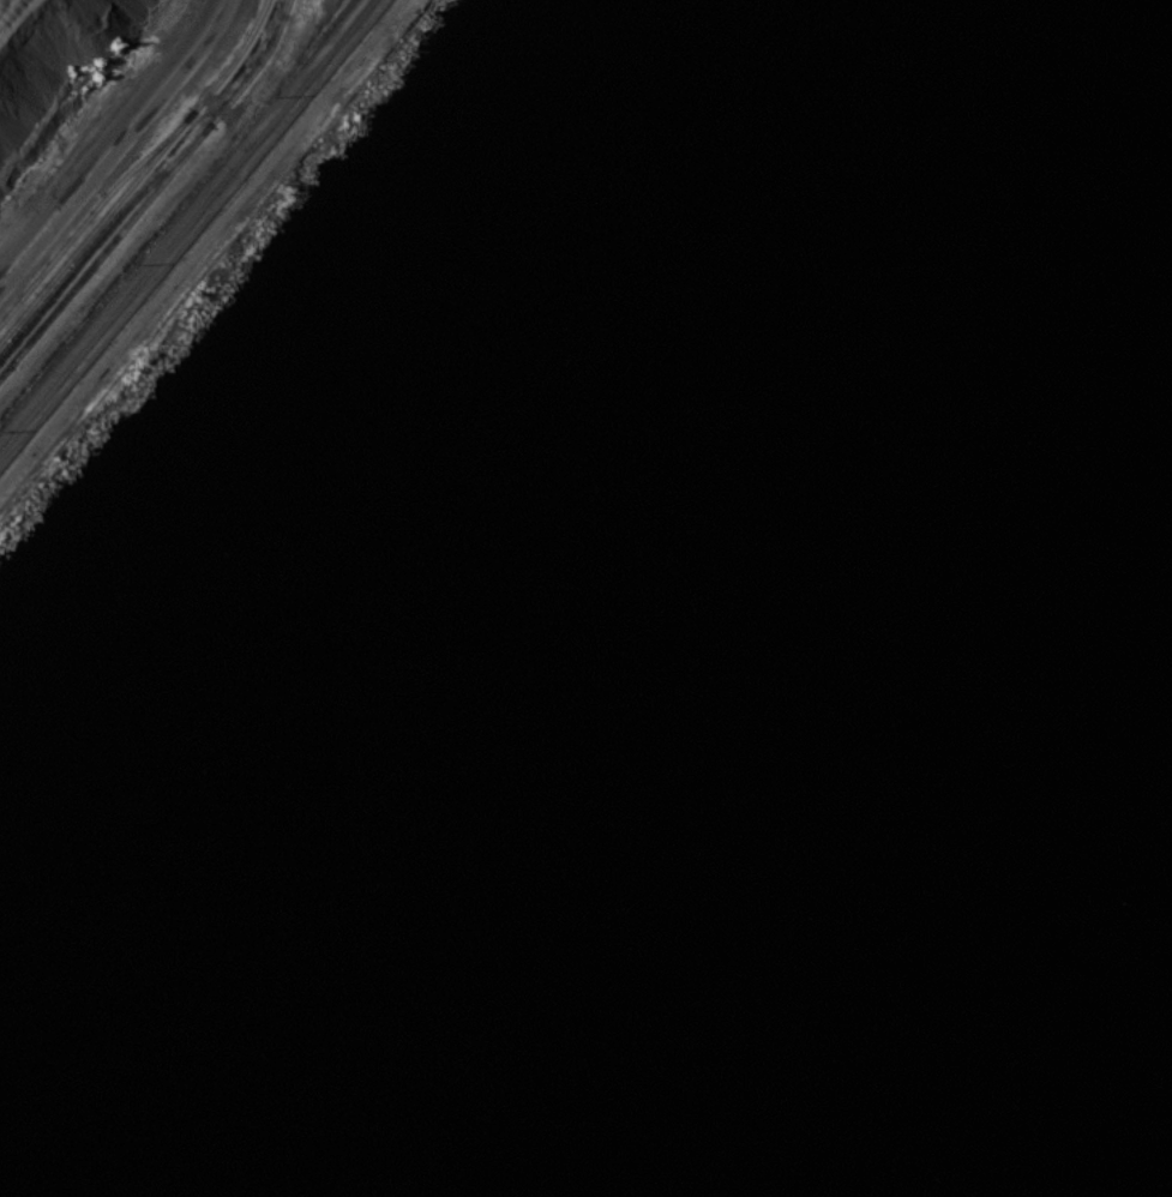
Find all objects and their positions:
road: (42, 52)
railway: (208, 125)
road: (119, 148)
railway: (136, 162)
road: (23, 211)
railway: (95, 224)
railway: (100, 236)
road: (197, 237)
railway: (55, 308)

